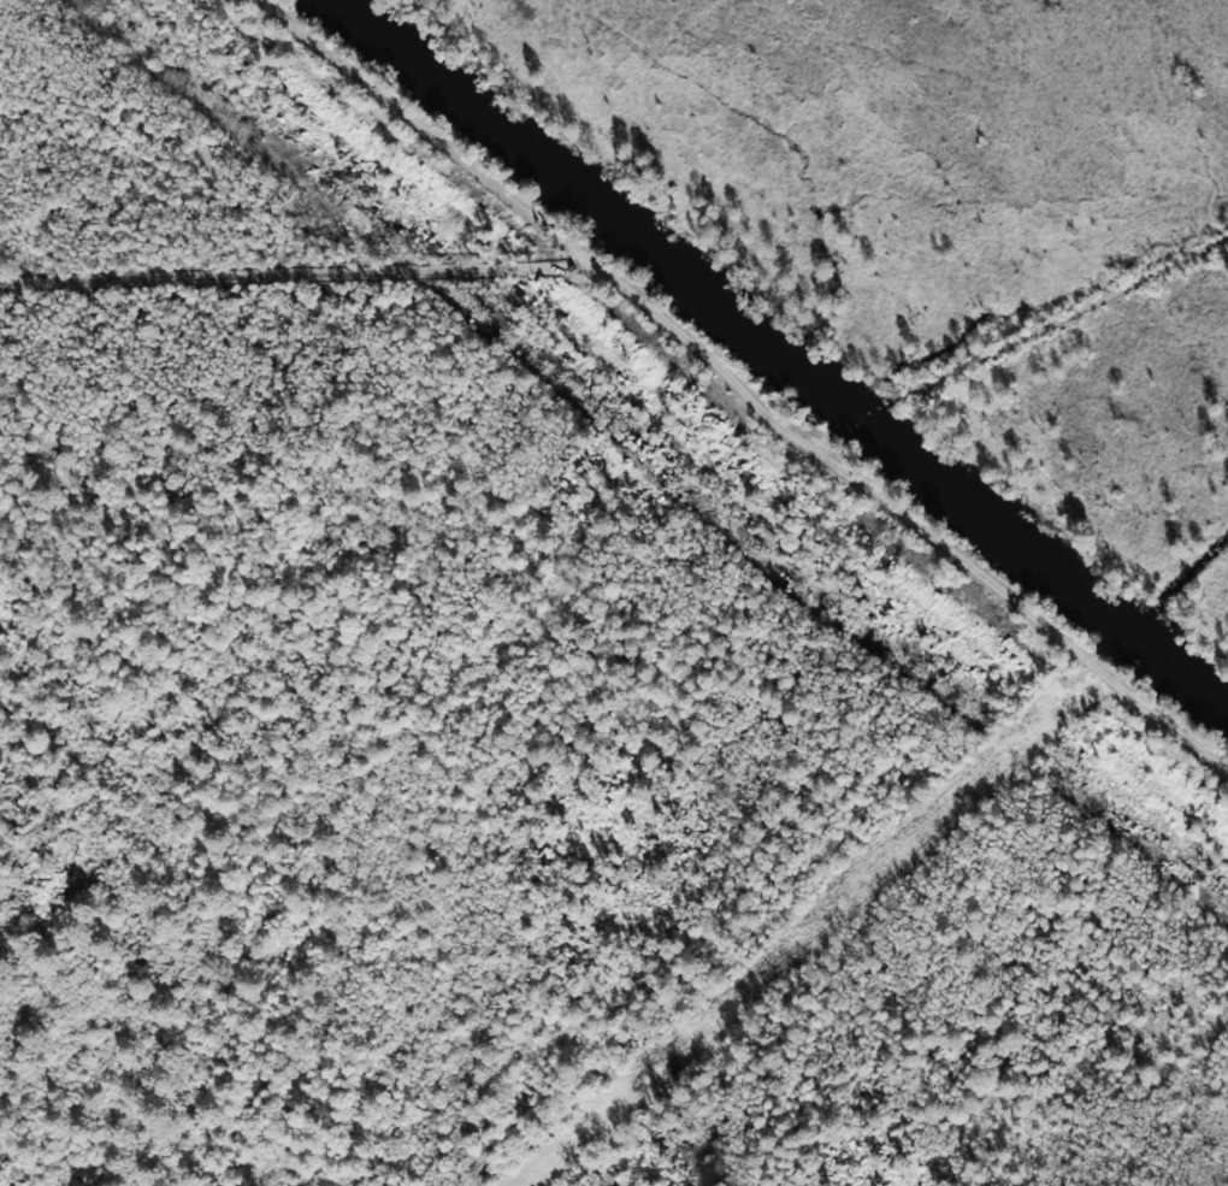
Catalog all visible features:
road: (541, 212)
road: (1011, 601)

